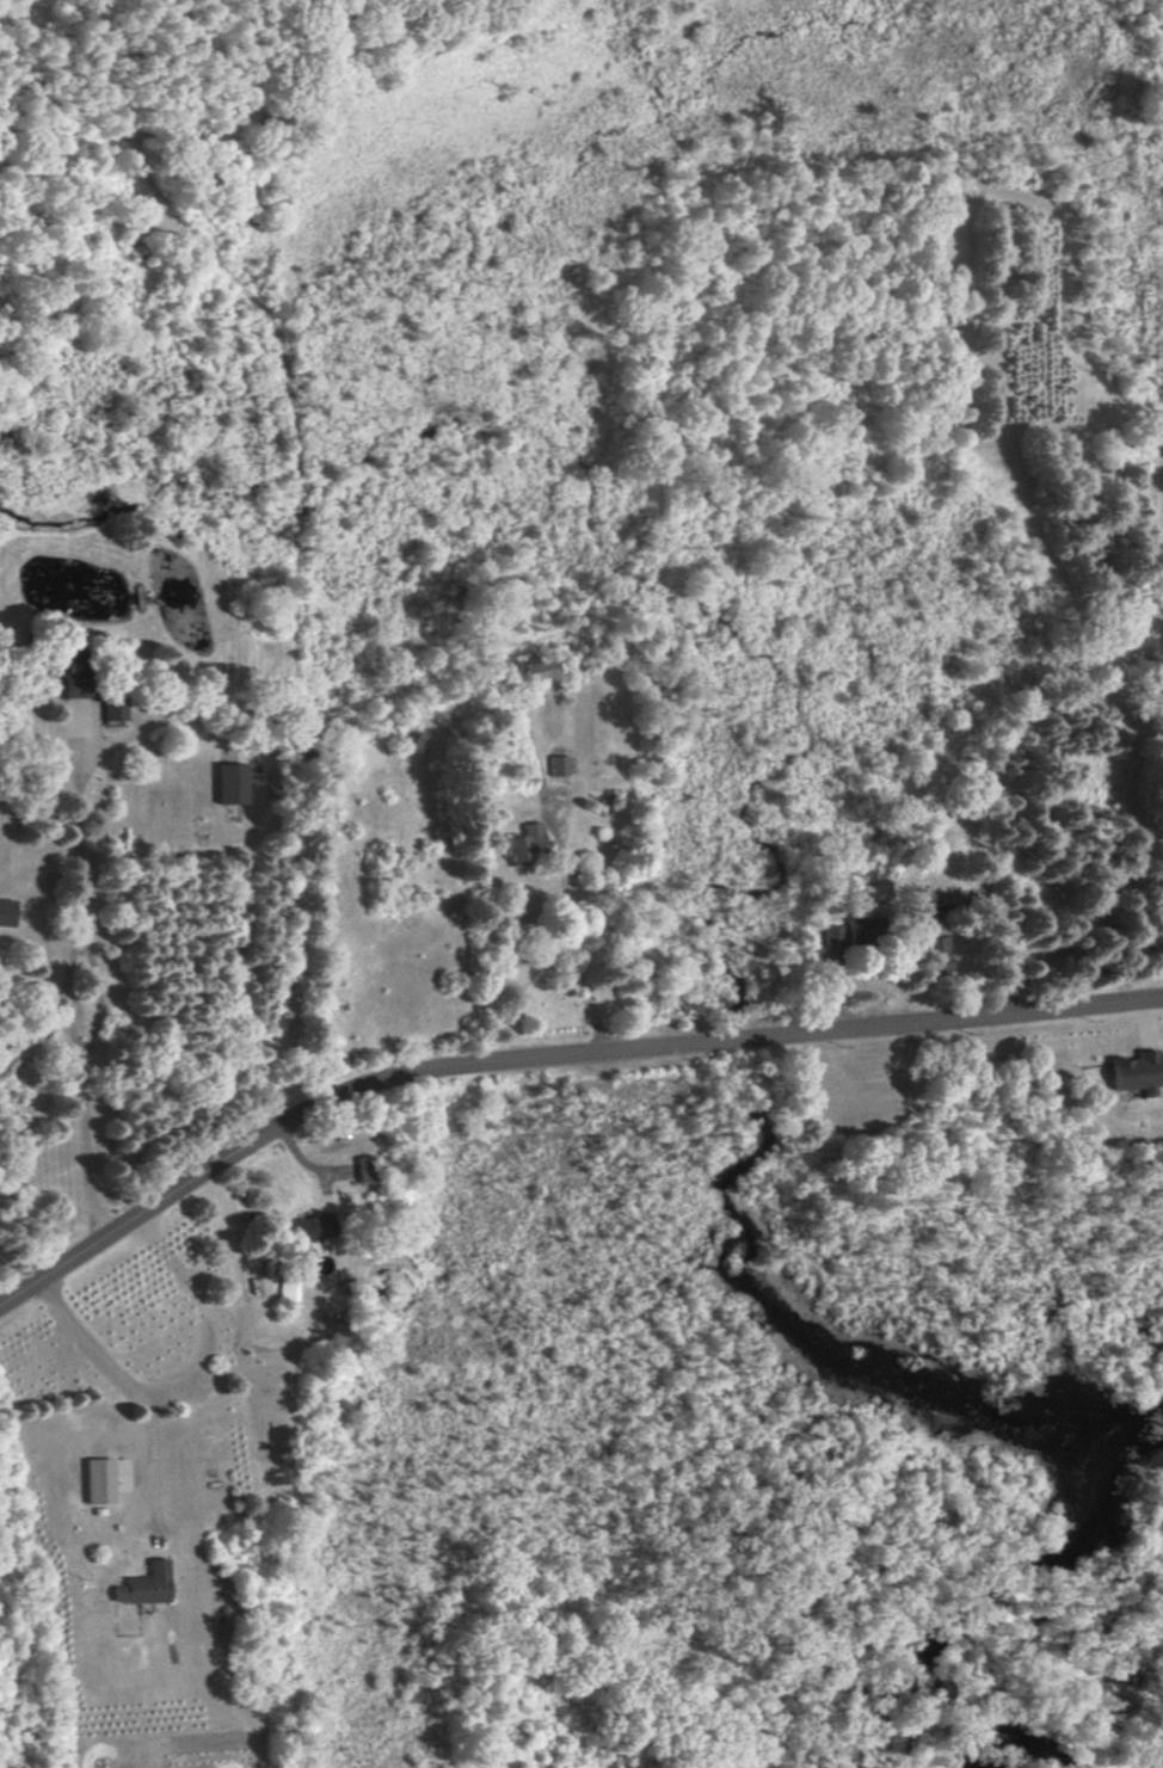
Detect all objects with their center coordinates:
building: (537, 667)
building: (113, 708)
building: (558, 765)
building: (232, 783)
building: (524, 844)
building: (6, 912)
building: (864, 929)
building: (833, 936)
building: (929, 940)
road: (574, 961)
road: (64, 996)
road: (719, 1041)
building: (1136, 1072)
building: (365, 1169)
road: (142, 1216)
building: (313, 1227)
building: (288, 1292)
road: (139, 1393)
building: (99, 1480)
building: (143, 1585)

